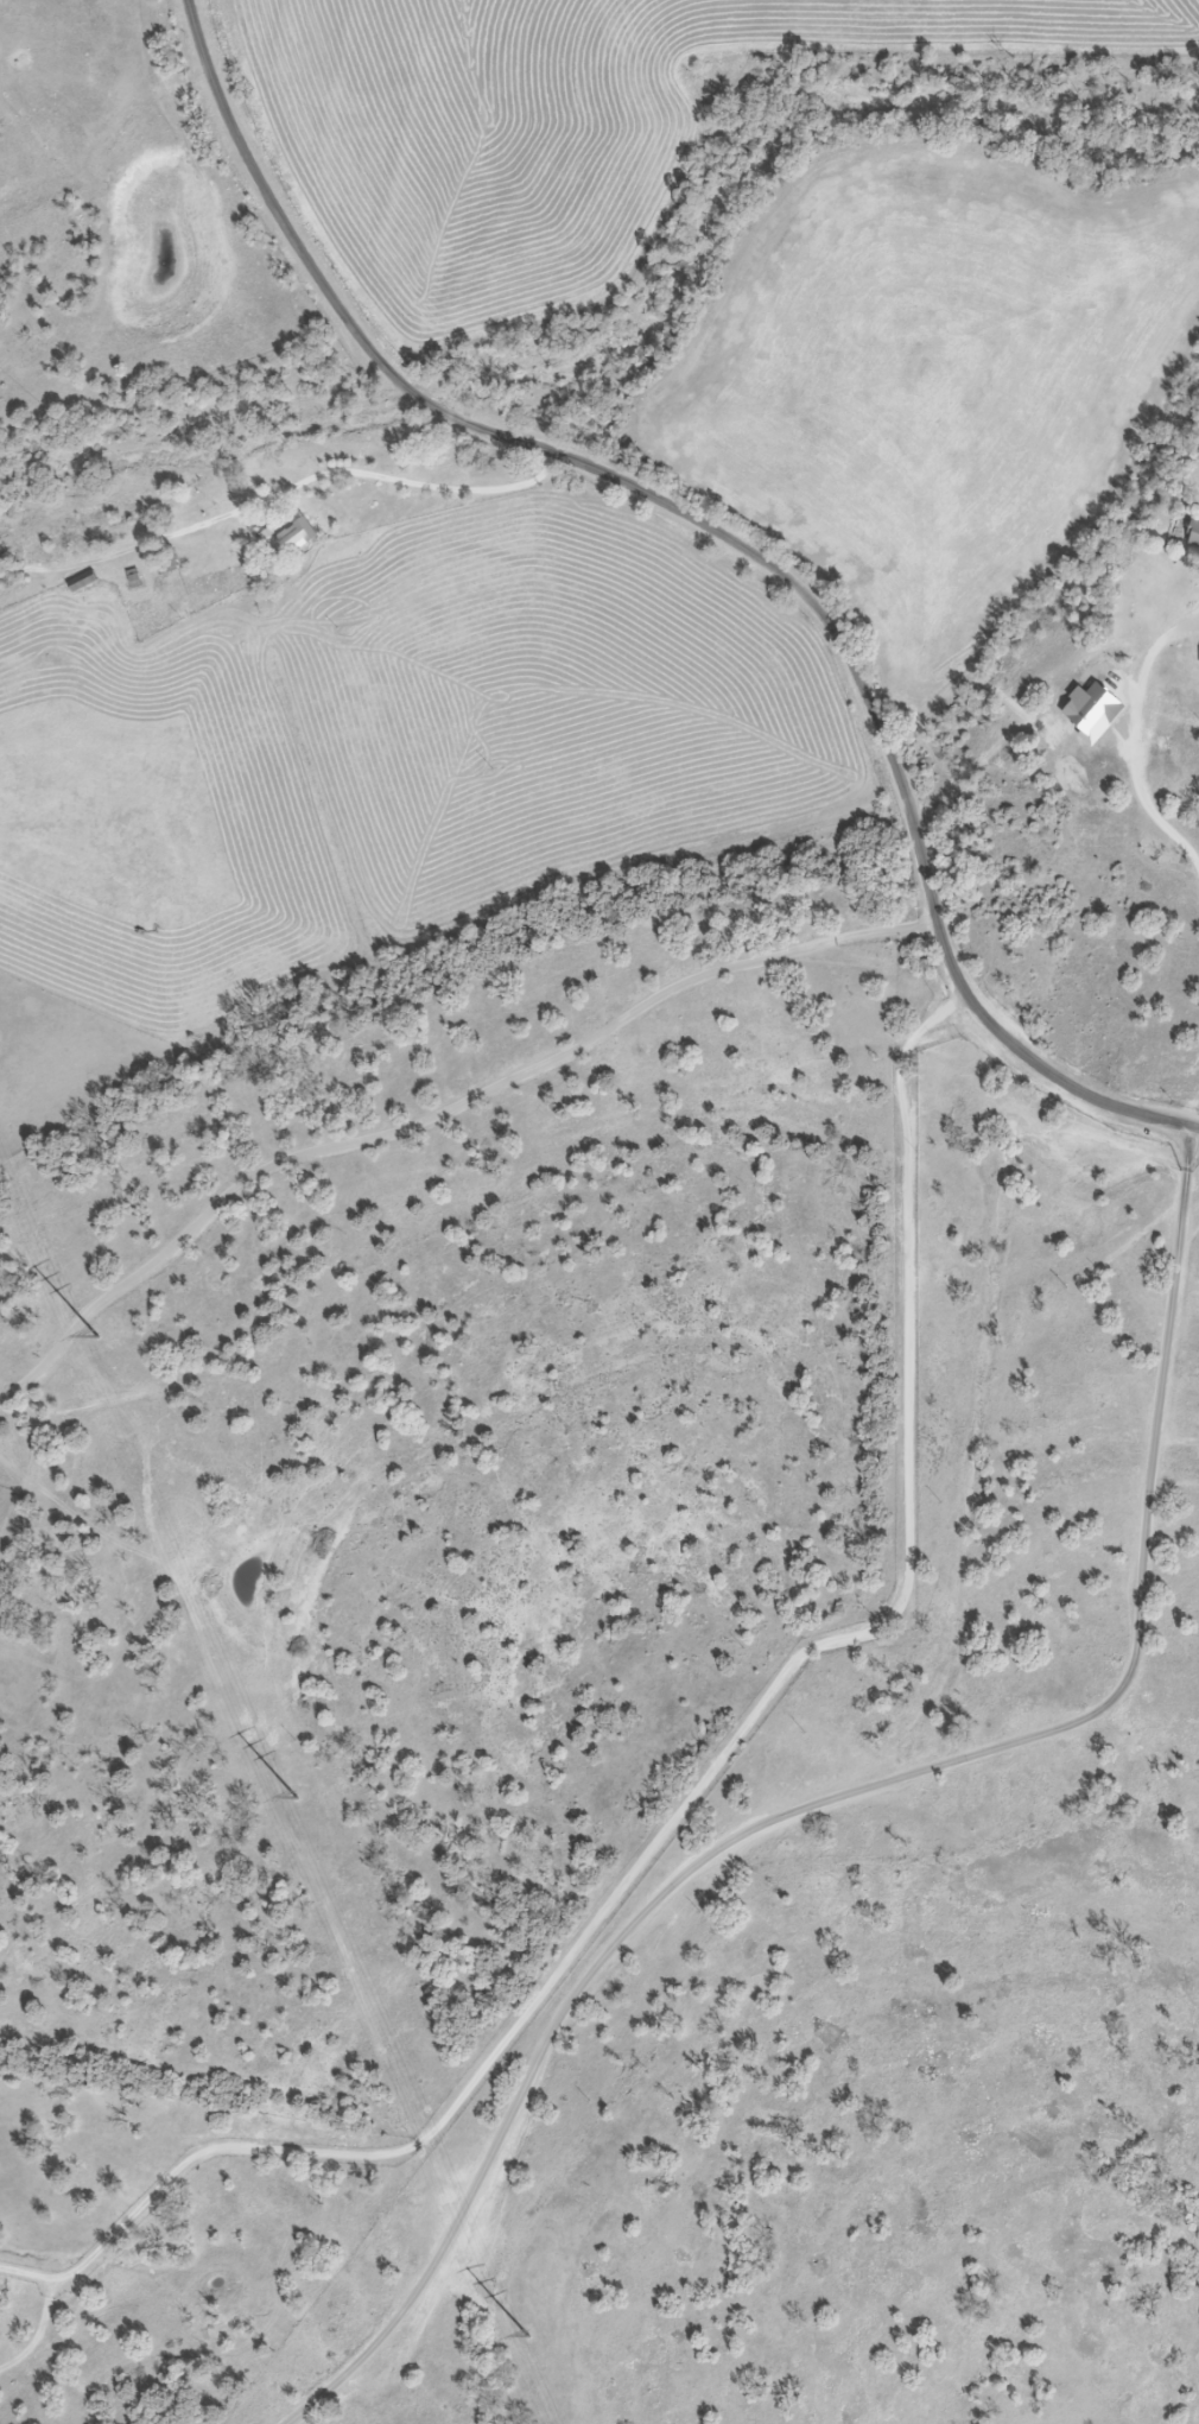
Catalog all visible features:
road: (402, 474)
building: (1193, 533)
building: (294, 537)
road: (725, 540)
building: (165, 563)
building: (0, 571)
building: (80, 580)
road: (1136, 733)
road: (438, 1110)
power tower: (96, 1337)
road: (698, 1785)
road: (845, 1795)
power tower: (298, 1797)
power tower: (527, 2337)

